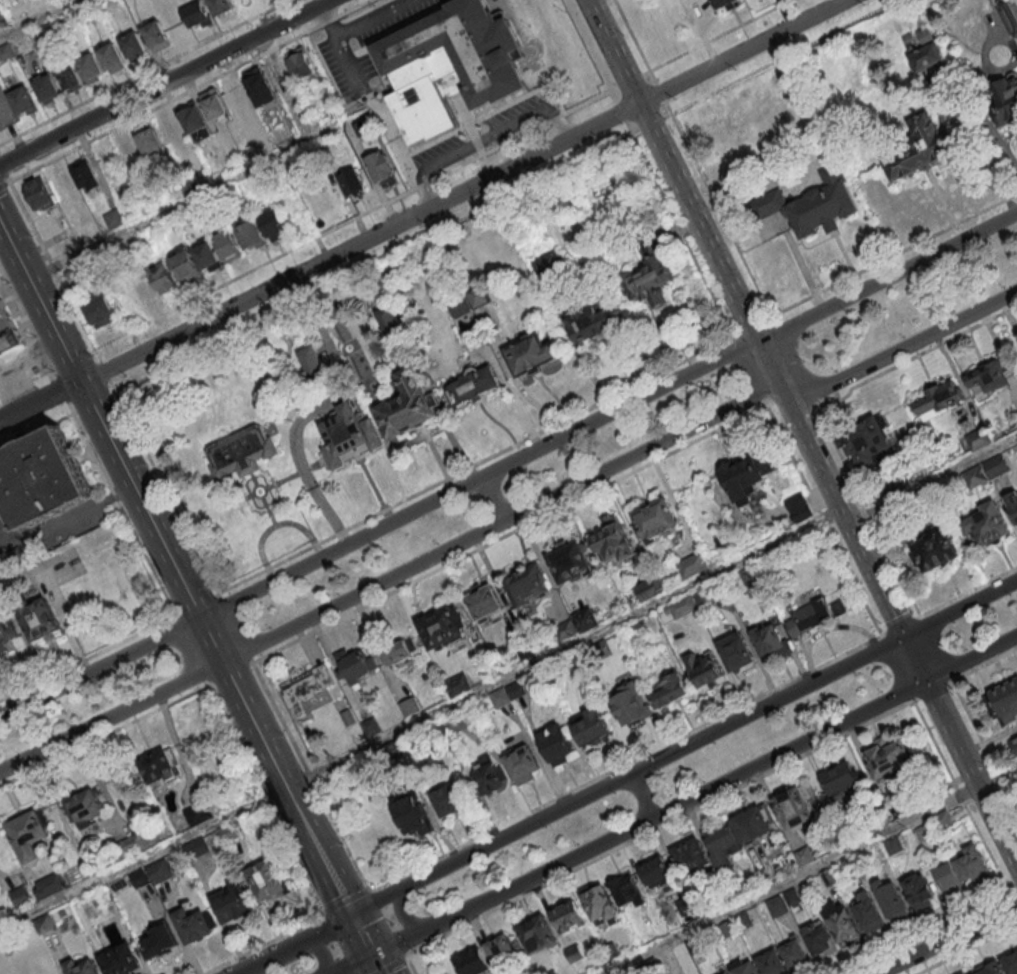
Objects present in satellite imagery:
building: (724, 4)
building: (223, 7)
building: (197, 13)
building: (1010, 15)
parking lot: (3, 18)
road: (36, 18)
building: (154, 34)
road: (721, 36)
building: (925, 36)
road: (635, 41)
building: (22, 45)
building: (132, 45)
parking lot: (365, 46)
road: (741, 50)
building: (7, 51)
road: (590, 51)
building: (110, 55)
road: (781, 58)
building: (927, 58)
building: (301, 61)
building: (451, 64)
building: (88, 66)
building: (70, 78)
road: (163, 83)
building: (259, 86)
building: (46, 87)
road: (191, 91)
road: (660, 92)
building: (238, 97)
building: (22, 100)
building: (1005, 102)
building: (213, 104)
parking lot: (5, 110)
road: (620, 111)
parking lot: (516, 116)
building: (194, 121)
road: (652, 123)
building: (170, 129)
road: (482, 138)
building: (149, 140)
building: (920, 150)
building: (129, 152)
parking lot: (440, 154)
road: (954, 154)
building: (382, 166)
road: (2, 170)
building: (86, 173)
building: (353, 182)
road: (4, 184)
building: (39, 193)
road: (183, 201)
building: (810, 205)
road: (720, 211)
building: (113, 218)
road: (352, 220)
building: (273, 223)
road: (680, 230)
building: (250, 233)
road: (361, 243)
building: (227, 244)
building: (207, 255)
road: (890, 256)
road: (377, 261)
building: (548, 263)
building: (186, 264)
road: (53, 269)
building: (80, 274)
building: (163, 275)
building: (648, 277)
building: (144, 286)
building: (479, 298)
road: (40, 304)
building: (460, 307)
building: (99, 309)
building: (4, 316)
building: (389, 322)
building: (593, 322)
road: (27, 325)
road: (750, 327)
road: (324, 333)
building: (8, 336)
road: (899, 349)
building: (531, 355)
road: (914, 356)
road: (72, 360)
road: (795, 364)
parking lot: (15, 365)
building: (315, 367)
road: (749, 370)
road: (104, 371)
building: (987, 375)
road: (513, 379)
road: (504, 383)
building: (473, 387)
road: (60, 389)
road: (53, 393)
building: (940, 397)
road: (94, 404)
road: (794, 404)
building: (406, 407)
road: (14, 410)
road: (437, 411)
road: (14, 415)
road: (36, 430)
road: (802, 432)
building: (347, 437)
building: (979, 439)
building: (866, 443)
road: (641, 450)
building: (242, 454)
road: (298, 457)
road: (508, 462)
road: (476, 464)
building: (997, 467)
building: (42, 475)
building: (747, 477)
building: (976, 477)
road: (931, 479)
building: (890, 483)
road: (164, 488)
road: (494, 496)
building: (931, 498)
road: (139, 501)
building: (1012, 505)
building: (799, 508)
road: (120, 509)
road: (868, 511)
road: (823, 518)
road: (58, 519)
building: (655, 521)
parking lot: (52, 525)
building: (988, 526)
road: (510, 534)
building: (613, 542)
road: (7, 545)
building: (936, 554)
building: (21, 557)
building: (570, 563)
building: (693, 566)
building: (750, 577)
building: (528, 588)
road: (362, 589)
building: (649, 590)
road: (969, 592)
building: (706, 602)
building: (485, 604)
road: (196, 605)
building: (681, 608)
building: (814, 617)
building: (39, 621)
building: (586, 621)
building: (443, 627)
road: (901, 627)
road: (235, 628)
building: (566, 631)
building: (6, 634)
traffic signals: (903, 636)
road: (209, 639)
building: (771, 643)
road: (563, 649)
road: (191, 651)
building: (601, 651)
road: (937, 651)
building: (737, 653)
building: (397, 654)
road: (87, 659)
road: (984, 664)
building: (353, 667)
road: (897, 668)
building: (706, 672)
road: (229, 676)
traffic signals: (926, 680)
building: (458, 686)
building: (309, 689)
building: (517, 691)
building: (670, 692)
road: (934, 693)
building: (501, 700)
building: (1007, 702)
building: (631, 706)
building: (411, 709)
road: (110, 716)
building: (349, 719)
building: (457, 723)
building: (590, 726)
building: (372, 729)
building: (441, 730)
road: (709, 733)
road: (105, 737)
building: (557, 745)
building: (1015, 745)
road: (985, 747)
building: (393, 752)
building: (889, 759)
road: (628, 764)
building: (523, 766)
building: (161, 768)
road: (996, 775)
road: (310, 776)
building: (489, 778)
building: (843, 782)
road: (718, 783)
road: (284, 786)
road: (645, 793)
road: (961, 794)
road: (267, 800)
building: (451, 802)
building: (910, 803)
building: (86, 808)
building: (795, 809)
building: (413, 814)
building: (199, 815)
building: (945, 822)
road: (662, 827)
building: (753, 827)
building: (925, 833)
building: (230, 834)
building: (28, 836)
building: (722, 845)
building: (132, 846)
building: (895, 847)
building: (198, 850)
building: (691, 857)
building: (805, 858)
road: (143, 860)
building: (854, 865)
building: (974, 866)
building: (160, 874)
building: (657, 874)
road: (791, 879)
building: (830, 879)
building: (140, 880)
building: (950, 880)
building: (269, 883)
road: (1013, 884)
building: (51, 887)
road: (372, 890)
building: (737, 891)
building: (626, 893)
building: (919, 893)
building: (793, 898)
road: (1012, 898)
building: (22, 899)
building: (723, 899)
road: (375, 900)
building: (892, 901)
road: (346, 903)
building: (232, 905)
building: (600, 906)
building: (687, 907)
building: (778, 908)
road: (402, 912)
traffic signals: (349, 913)
building: (869, 914)
building: (569, 918)
road: (393, 922)
building: (744, 922)
building: (46, 925)
traffic signals: (323, 926)
building: (194, 927)
building: (843, 927)
building: (730, 929)
road: (923, 931)
road: (359, 934)
building: (538, 936)
road: (947, 939)
building: (821, 941)
road: (287, 943)
road: (395, 943)
building: (157, 945)
road: (265, 945)
road: (332, 945)
building: (697, 945)
road: (320, 949)
road: (968, 949)
building: (502, 952)
building: (611, 952)
building: (575, 954)
road: (406, 955)
building: (796, 955)
traffic signals: (370, 956)
building: (121, 961)
building: (474, 963)
road: (350, 964)
building: (772, 964)
road: (374, 965)
building: (1011, 965)
road: (393, 967)
road: (411, 967)
building: (650, 967)
building: (82, 968)
traffic signals: (343, 968)
building: (744, 969)
building: (991, 969)
building: (554, 972)
building: (728, 973)

